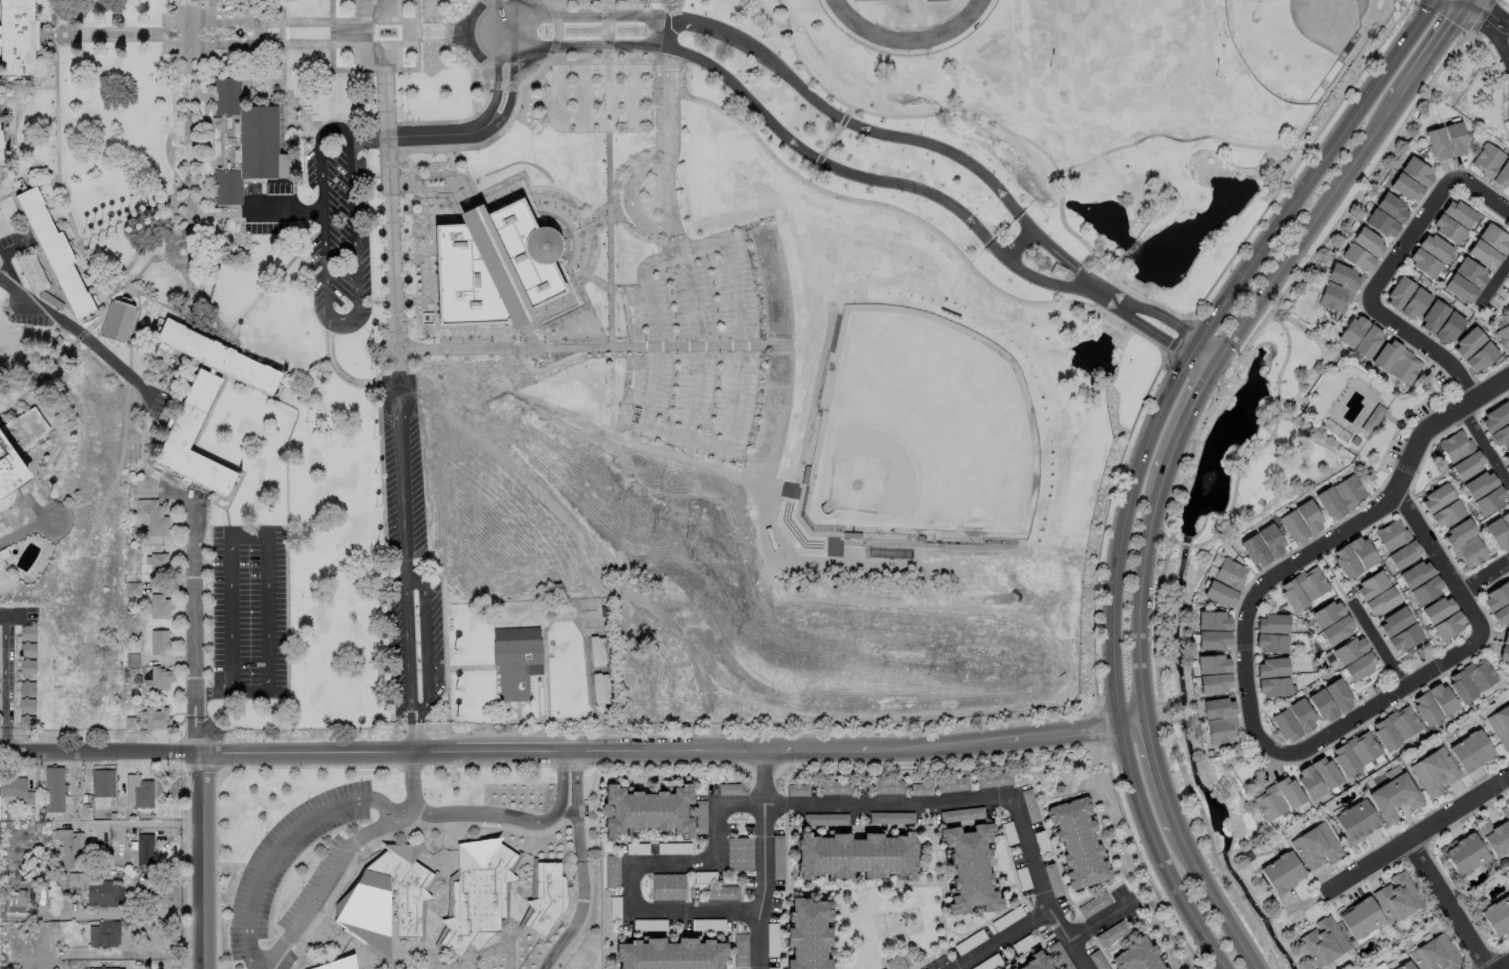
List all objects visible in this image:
road: (576, 0)
road: (53, 3)
road: (1458, 6)
road: (1467, 6)
road: (1495, 11)
park: (906, 12)
traffic signals: (1463, 13)
track: (907, 16)
road: (1482, 16)
road: (281, 17)
road: (54, 22)
road: (169, 22)
road: (258, 22)
road: (556, 30)
road: (664, 30)
road: (350, 31)
fountain: (432, 31)
road: (106, 33)
fountain: (170, 34)
fountain: (203, 34)
road: (1490, 35)
building: (17, 37)
park: (1294, 41)
road: (169, 43)
road: (257, 43)
road: (1433, 57)
road: (283, 74)
road: (505, 84)
road: (683, 85)
road: (269, 86)
road: (33, 87)
road: (30, 94)
road: (16, 97)
road: (813, 99)
road: (485, 100)
road: (994, 121)
road: (187, 122)
road: (368, 124)
road: (482, 125)
road: (307, 128)
road: (488, 140)
road: (792, 140)
building: (1456, 140)
building: (244, 141)
building: (0, 143)
road: (827, 143)
road: (1252, 145)
building: (1438, 146)
road: (291, 154)
building: (0, 158)
road: (32, 160)
building: (1488, 162)
road: (607, 173)
building: (1418, 173)
road: (57, 176)
road: (370, 176)
road: (439, 177)
building: (1502, 178)
road: (633, 180)
road: (432, 188)
building: (1406, 189)
road: (441, 195)
road: (1482, 198)
building: (1393, 209)
road: (283, 210)
road: (388, 210)
road: (215, 213)
road: (132, 214)
road: (550, 215)
building: (1460, 215)
road: (578, 219)
road: (371, 222)
road: (581, 225)
building: (1381, 225)
parking lot: (324, 226)
road: (573, 229)
road: (1310, 231)
building: (1448, 231)
road: (148, 237)
building: (1494, 240)
parking lot: (15, 242)
building: (1369, 244)
road: (1410, 245)
road: (1020, 247)
building: (1436, 250)
building: (53, 251)
road: (216, 252)
road: (185, 253)
road: (3, 254)
road: (569, 256)
building: (1484, 256)
road: (412, 260)
building: (1357, 260)
building: (1425, 265)
building: (492, 267)
road: (141, 270)
building: (1057, 271)
building: (34, 272)
road: (571, 272)
building: (1471, 274)
building: (1343, 278)
road: (271, 282)
road: (1495, 282)
road: (189, 285)
road: (604, 286)
road: (993, 286)
road: (113, 289)
building: (1459, 289)
building: (1399, 294)
building: (1336, 298)
building: (49, 300)
road: (395, 300)
building: (1415, 306)
road: (568, 308)
road: (1143, 309)
road: (175, 310)
road: (209, 311)
road: (326, 311)
road: (434, 311)
parking lot: (14, 315)
road: (1130, 317)
building: (1433, 318)
road: (90, 321)
building: (117, 321)
road: (693, 324)
building: (1467, 328)
building: (1450, 329)
road: (79, 332)
building: (1352, 333)
road: (527, 334)
building: (1504, 339)
building: (58, 341)
building: (1368, 344)
parking lot: (697, 345)
building: (1468, 345)
traffic signals: (1196, 346)
road: (601, 347)
road: (404, 349)
road: (533, 350)
road: (1427, 352)
road: (1207, 354)
building: (1386, 357)
building: (1481, 359)
traffic signals: (1218, 362)
building: (1406, 370)
road: (37, 378)
road: (339, 382)
building: (204, 401)
parking lot: (156, 403)
road: (1190, 414)
building: (1494, 420)
building: (1371, 421)
building: (22, 430)
park: (920, 436)
building: (1501, 438)
road: (1268, 440)
road: (1483, 446)
building: (1455, 447)
road: (1336, 451)
road: (1143, 454)
building: (1506, 457)
building: (1468, 468)
building: (9, 469)
road: (1186, 471)
building: (806, 476)
building: (1479, 486)
building: (1350, 492)
fountain: (1209, 494)
building: (1435, 499)
building: (1489, 503)
building: (1330, 506)
building: (797, 514)
building: (1446, 516)
building: (154, 517)
building: (1310, 519)
building: (1505, 521)
building: (1293, 529)
road: (24, 530)
road: (1342, 532)
building: (1457, 534)
building: (853, 536)
building: (1391, 537)
building: (1497, 537)
road: (1176, 541)
building: (1272, 543)
road: (1186, 544)
building: (4, 554)
building: (1255, 554)
building: (1362, 554)
building: (1403, 556)
building: (1470, 556)
parking lot: (406, 557)
road: (268, 558)
road: (1440, 561)
building: (1346, 564)
building: (158, 566)
building: (1232, 575)
building: (1415, 576)
road: (1485, 579)
road: (408, 580)
building: (1313, 584)
building: (1370, 586)
building: (133, 589)
building: (1425, 591)
road: (1138, 594)
building: (1221, 596)
building: (1495, 596)
building: (1292, 597)
building: (1380, 603)
building: (160, 607)
building: (1436, 610)
parking lot: (250, 611)
building: (604, 612)
road: (556, 613)
parking lot: (30, 615)
building: (1326, 615)
building: (1500, 616)
road: (544, 618)
road: (566, 620)
road: (193, 621)
building: (1393, 622)
building: (1213, 623)
building: (1273, 624)
building: (1447, 628)
building: (1337, 632)
road: (580, 633)
building: (28, 634)
building: (1504, 637)
building: (1403, 639)
building: (160, 642)
building: (1213, 643)
road: (1377, 643)
road: (425, 644)
building: (1271, 645)
building: (28, 651)
building: (597, 651)
building: (1348, 652)
building: (1502, 656)
building: (517, 660)
building: (133, 661)
building: (1213, 665)
building: (28, 667)
road: (461, 669)
building: (1271, 669)
building: (1359, 669)
building: (126, 675)
building: (1480, 675)
parking lot: (10, 676)
building: (139, 680)
building: (158, 680)
road: (545, 680)
road: (4, 682)
building: (1215, 687)
building: (601, 688)
building: (1458, 688)
building: (27, 689)
building: (1273, 689)
building: (1339, 697)
building: (1439, 699)
building: (27, 706)
road: (511, 707)
building: (1321, 707)
building: (1423, 710)
building: (1218, 711)
road: (1362, 712)
building: (1301, 716)
building: (155, 719)
building: (1402, 722)
building: (27, 723)
building: (130, 725)
road: (518, 726)
building: (1500, 726)
building: (1285, 728)
building: (1222, 733)
building: (1383, 735)
building: (1447, 738)
building: (1361, 748)
building: (1470, 751)
road: (574, 752)
building: (1342, 761)
building: (1433, 771)
road: (1159, 773)
building: (1323, 773)
building: (993, 779)
building: (951, 783)
building: (104, 784)
building: (1307, 784)
building: (887, 786)
building: (834, 787)
building: (728, 788)
building: (797, 789)
building: (920, 789)
building: (16, 790)
building: (55, 791)
building: (1288, 793)
building: (1393, 795)
building: (144, 796)
building: (86, 799)
road: (946, 802)
building: (1270, 806)
building: (647, 811)
building: (961, 814)
building: (7, 816)
building: (700, 816)
building: (891, 817)
building: (825, 819)
road: (511, 820)
building: (1354, 822)
road: (142, 824)
road: (305, 826)
road: (1418, 832)
building: (1495, 833)
building: (1077, 842)
building: (69, 850)
building: (145, 850)
building: (1313, 850)
building: (739, 853)
building: (853, 855)
building: (777, 857)
building: (1248, 857)
building: (1464, 857)
road: (202, 860)
road: (763, 860)
building: (36, 866)
road: (581, 866)
road: (642, 866)
building: (969, 868)
building: (612, 870)
building: (112, 872)
road: (333, 872)
building: (1281, 873)
building: (667, 886)
building: (722, 892)
building: (478, 895)
building: (105, 896)
building: (548, 898)
road: (1211, 898)
building: (1398, 898)
building: (385, 899)
building: (1093, 904)
road: (1442, 905)
building: (15, 907)
building: (1497, 918)
road: (1099, 919)
building: (1361, 919)
building: (1111, 933)
building: (807, 934)
building: (109, 935)
building: (740, 937)
road: (1002, 940)
road: (1067, 940)
building: (1321, 944)
building: (670, 954)
building: (1060, 955)
building: (1434, 956)
building: (1136, 957)
building: (1097, 960)
building: (1033, 961)
building: (895, 963)
building: (340, 964)
building: (1405, 966)
road: (1507, 967)
building: (107, 968)

